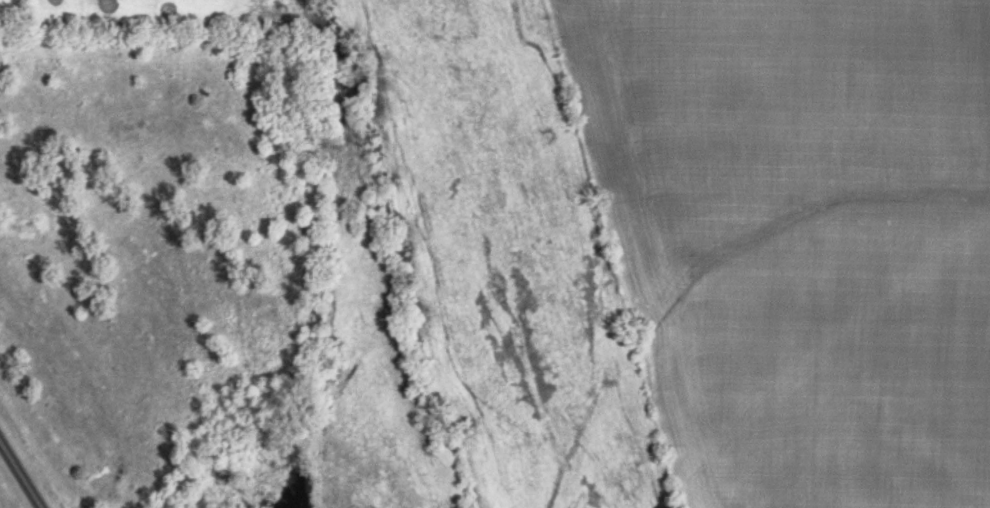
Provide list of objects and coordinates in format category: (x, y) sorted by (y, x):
road: (21, 474)

